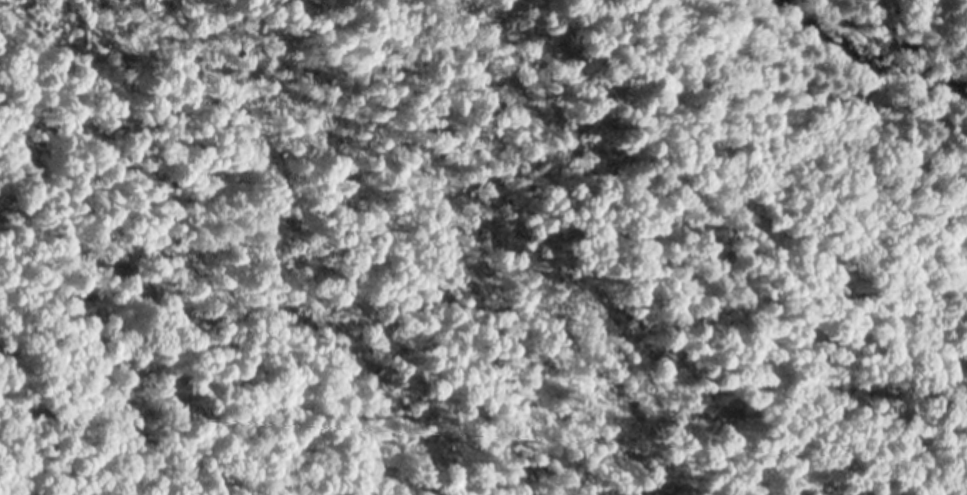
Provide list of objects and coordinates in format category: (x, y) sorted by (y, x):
river: (858, 60)

